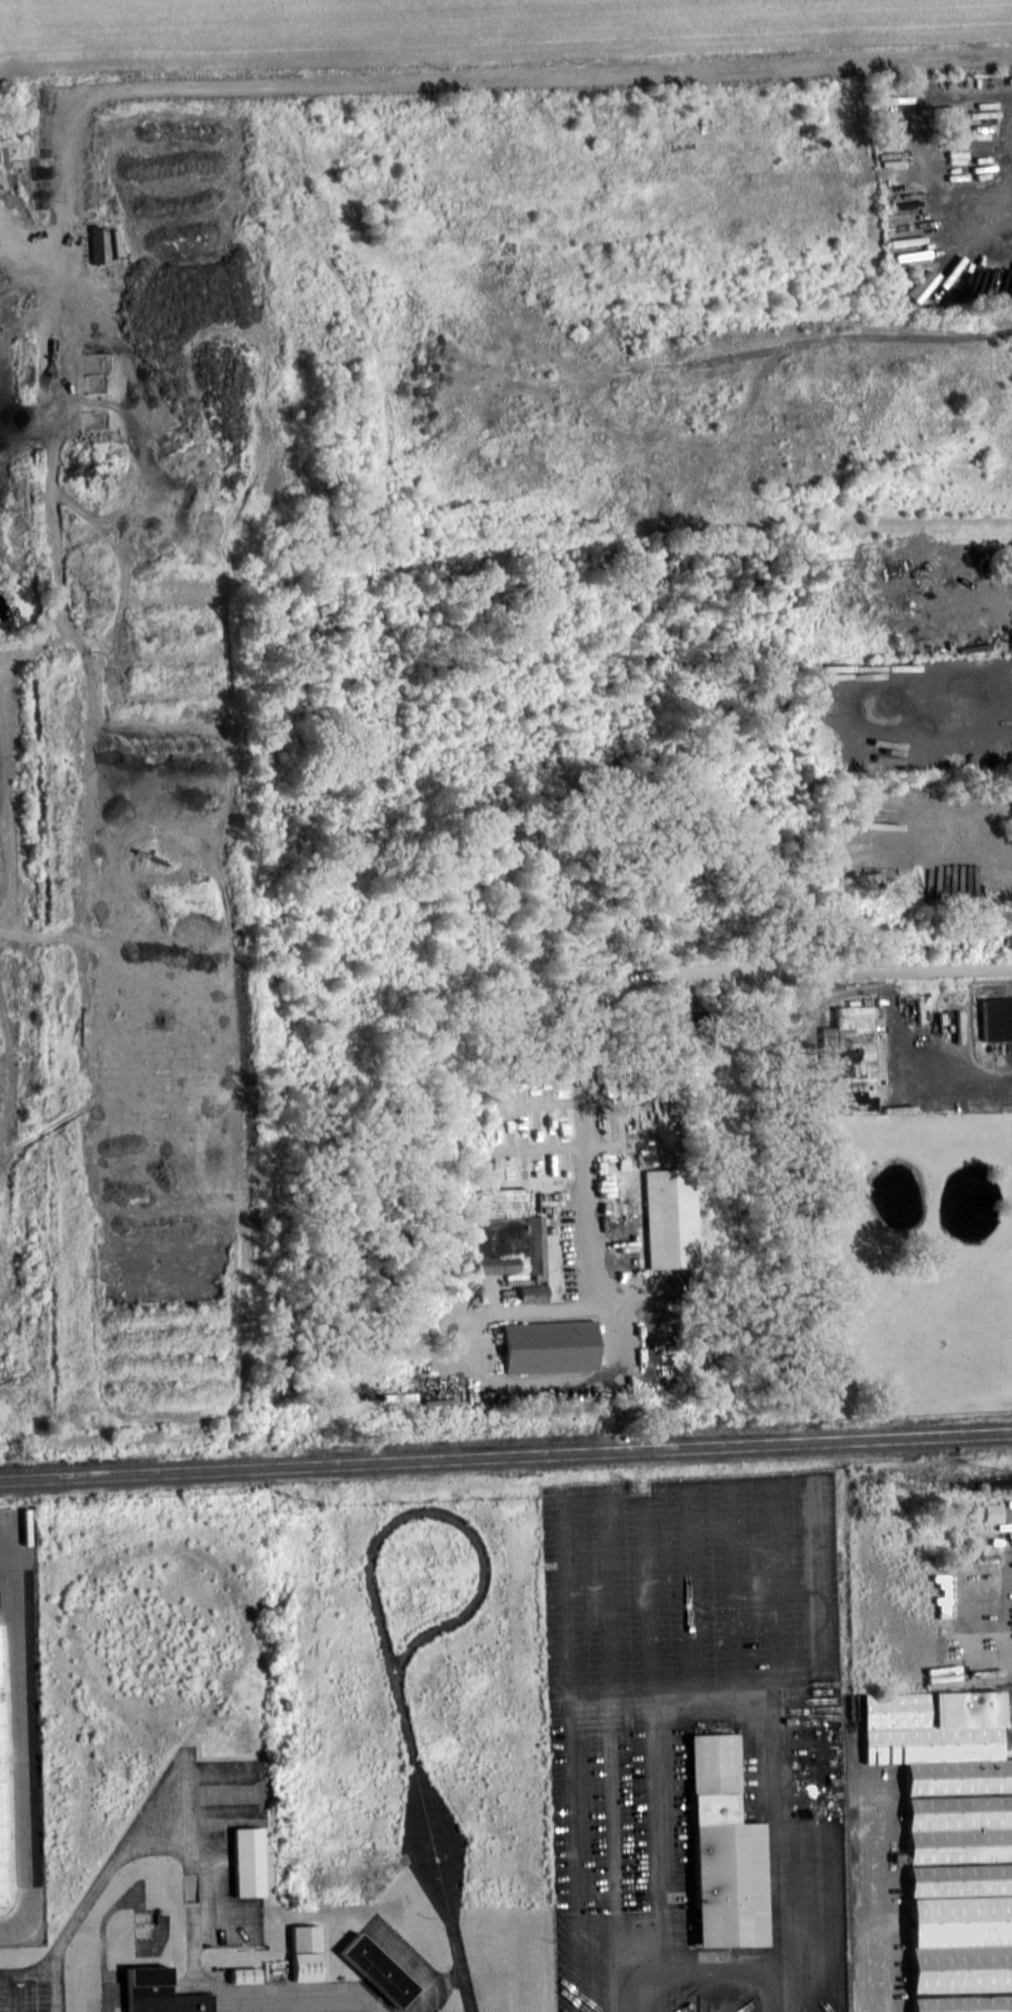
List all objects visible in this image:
crop: (429, 36)
road: (479, 77)
road: (986, 206)
road: (648, 972)
building: (995, 1018)
building: (854, 1055)
road: (957, 1085)
building: (669, 1219)
building: (508, 1243)
building: (548, 1346)
railway: (506, 1451)
railway: (506, 1461)
power tower: (977, 1470)
railway: (950, 1474)
power tower: (634, 1486)
power tower: (299, 1502)
road: (713, 1706)
parking lot: (692, 1734)
road: (22, 1749)
building: (950, 1843)
road: (149, 1846)
building: (720, 1851)
building: (246, 1862)
building: (1, 1863)
road: (873, 1895)
building: (303, 1952)
building: (374, 1968)
building: (242, 1974)
road: (704, 1976)
building: (158, 1992)
road: (309, 1996)

